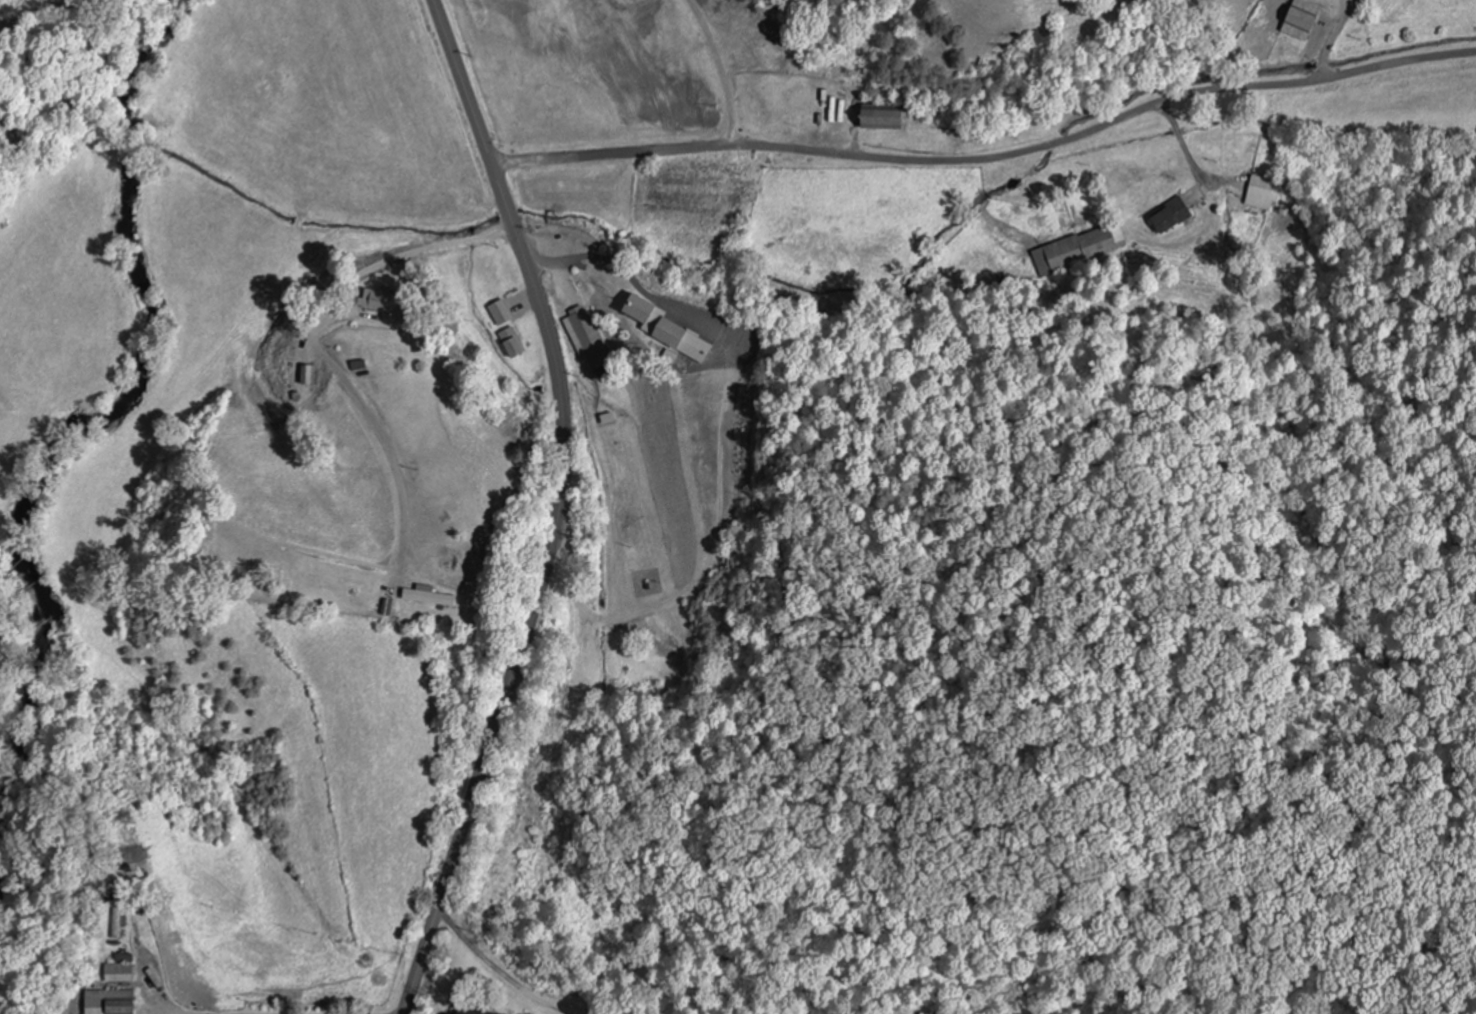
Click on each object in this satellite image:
building: (1299, 19)
road: (679, 76)
building: (878, 117)
road: (989, 158)
building: (1257, 190)
building: (1168, 215)
building: (1078, 248)
road: (378, 272)
building: (376, 300)
building: (498, 313)
building: (667, 331)
building: (584, 339)
building: (308, 375)
road: (554, 508)
building: (427, 597)
road: (774, 816)
building: (116, 922)
building: (119, 968)
road: (159, 982)
building: (108, 1001)
road: (343, 1006)
building: (460, 1011)

